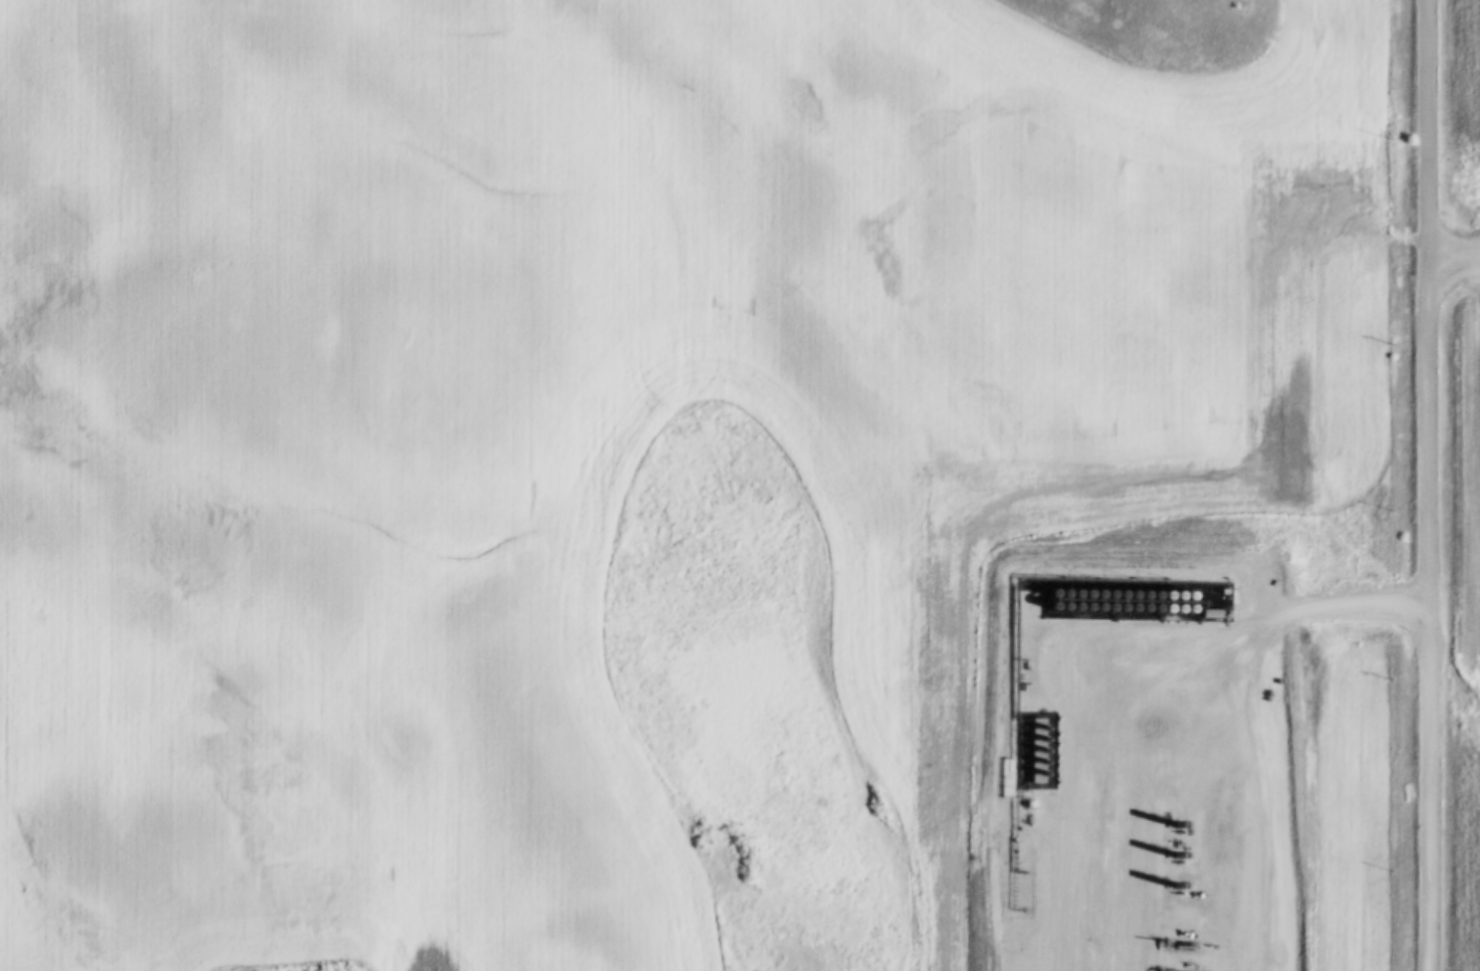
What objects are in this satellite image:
road: (1422, 485)

